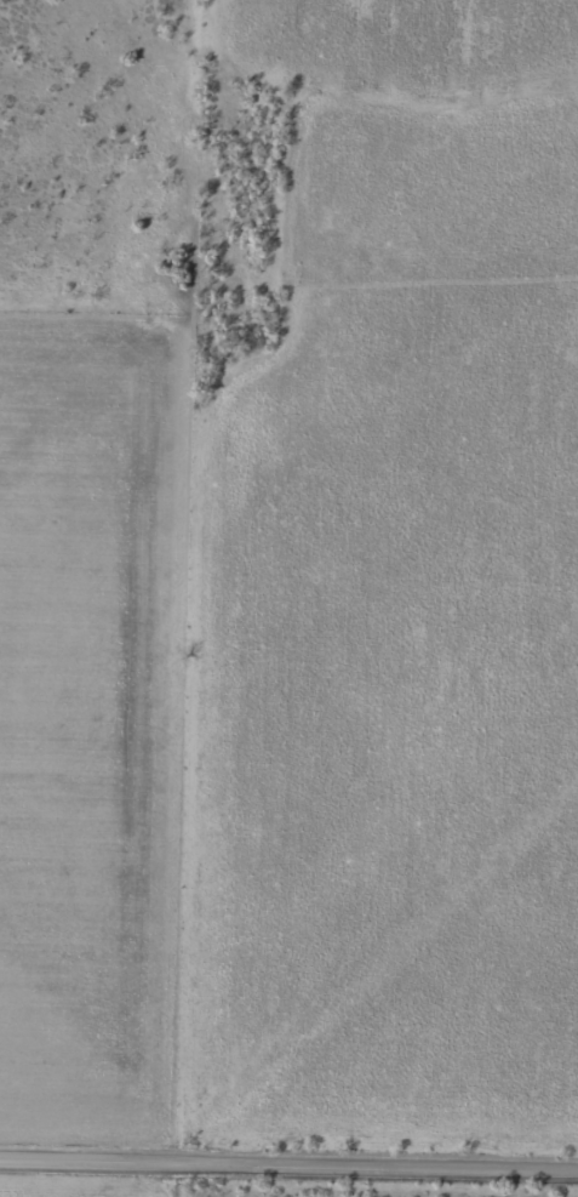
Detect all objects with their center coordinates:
road: (288, 1162)

